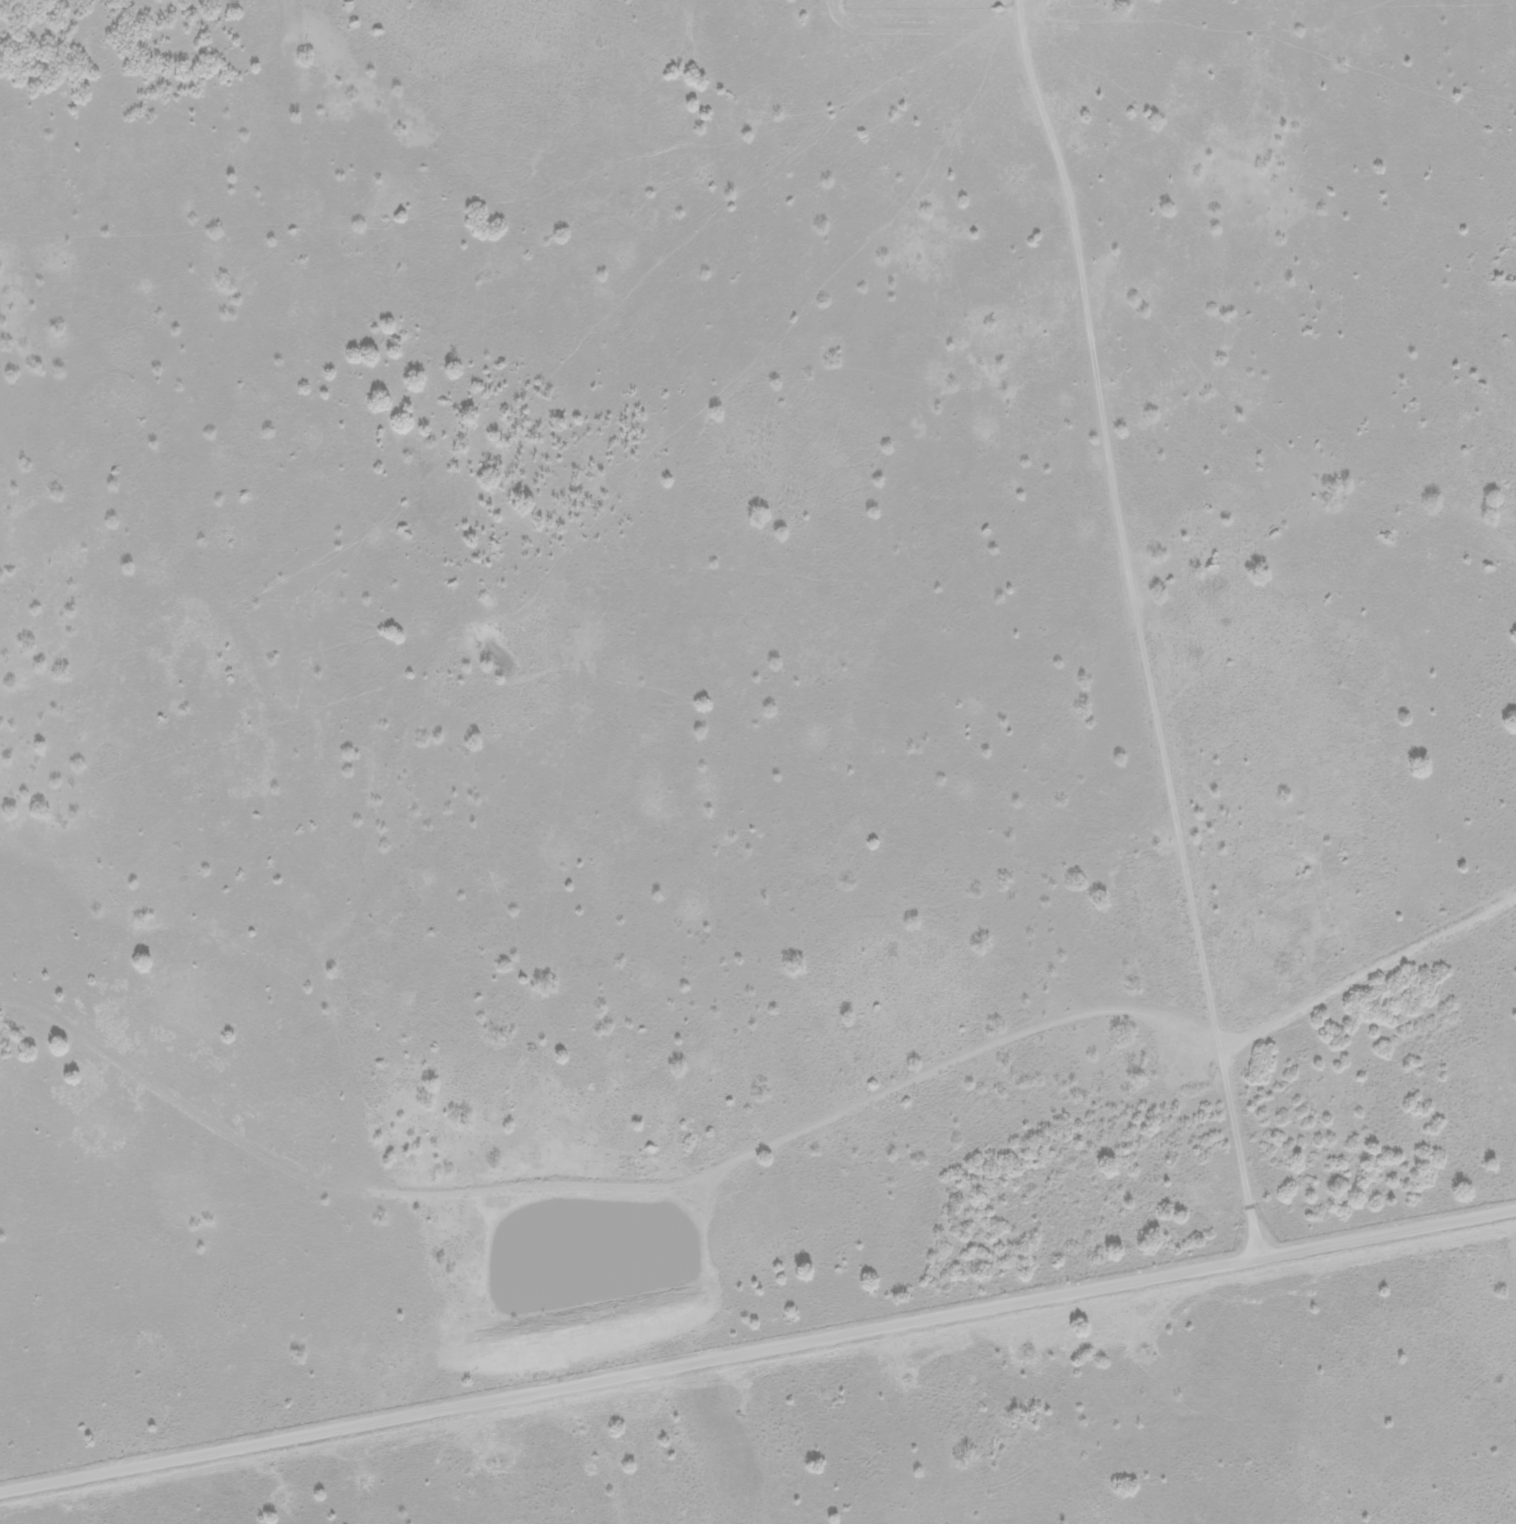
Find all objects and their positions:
road: (757, 1348)

